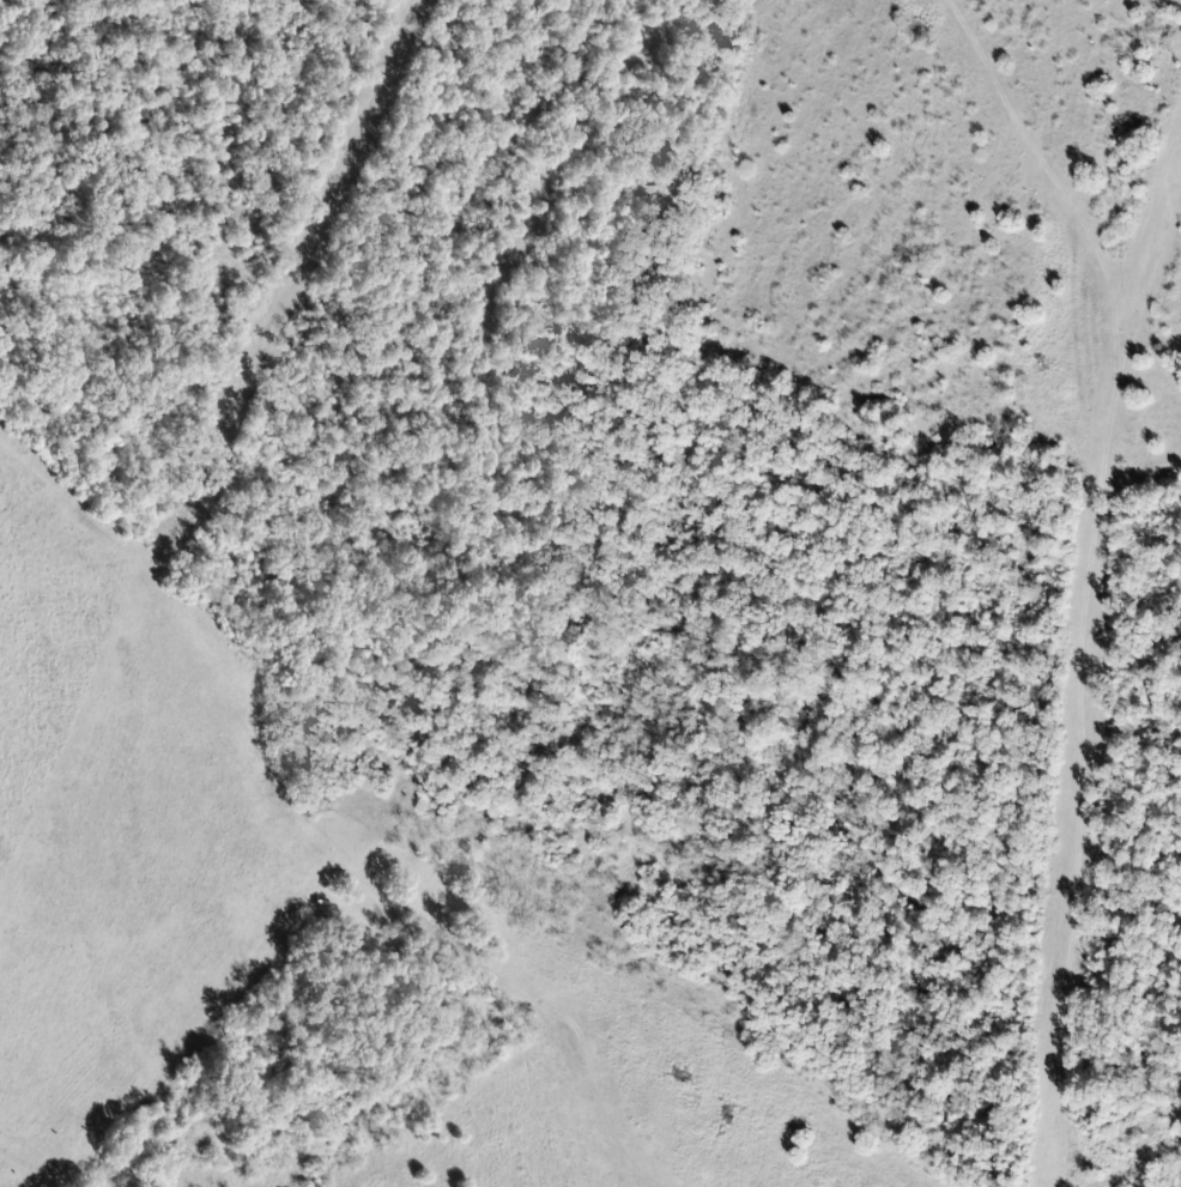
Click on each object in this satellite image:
road: (552, 1001)

